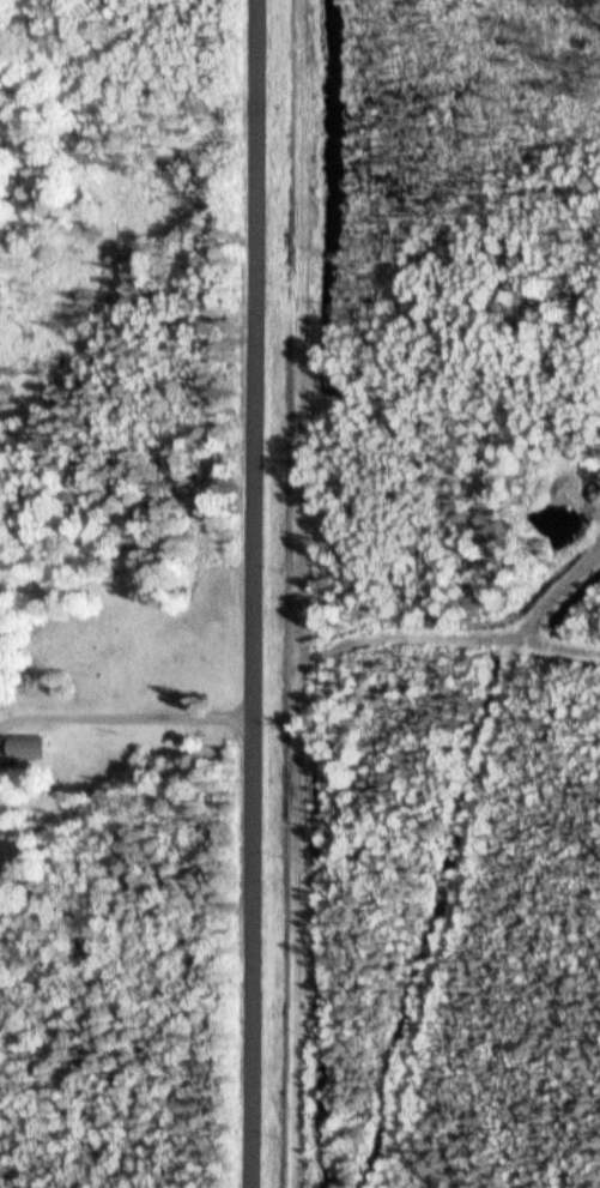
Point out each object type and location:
road: (254, 593)
building: (19, 747)

